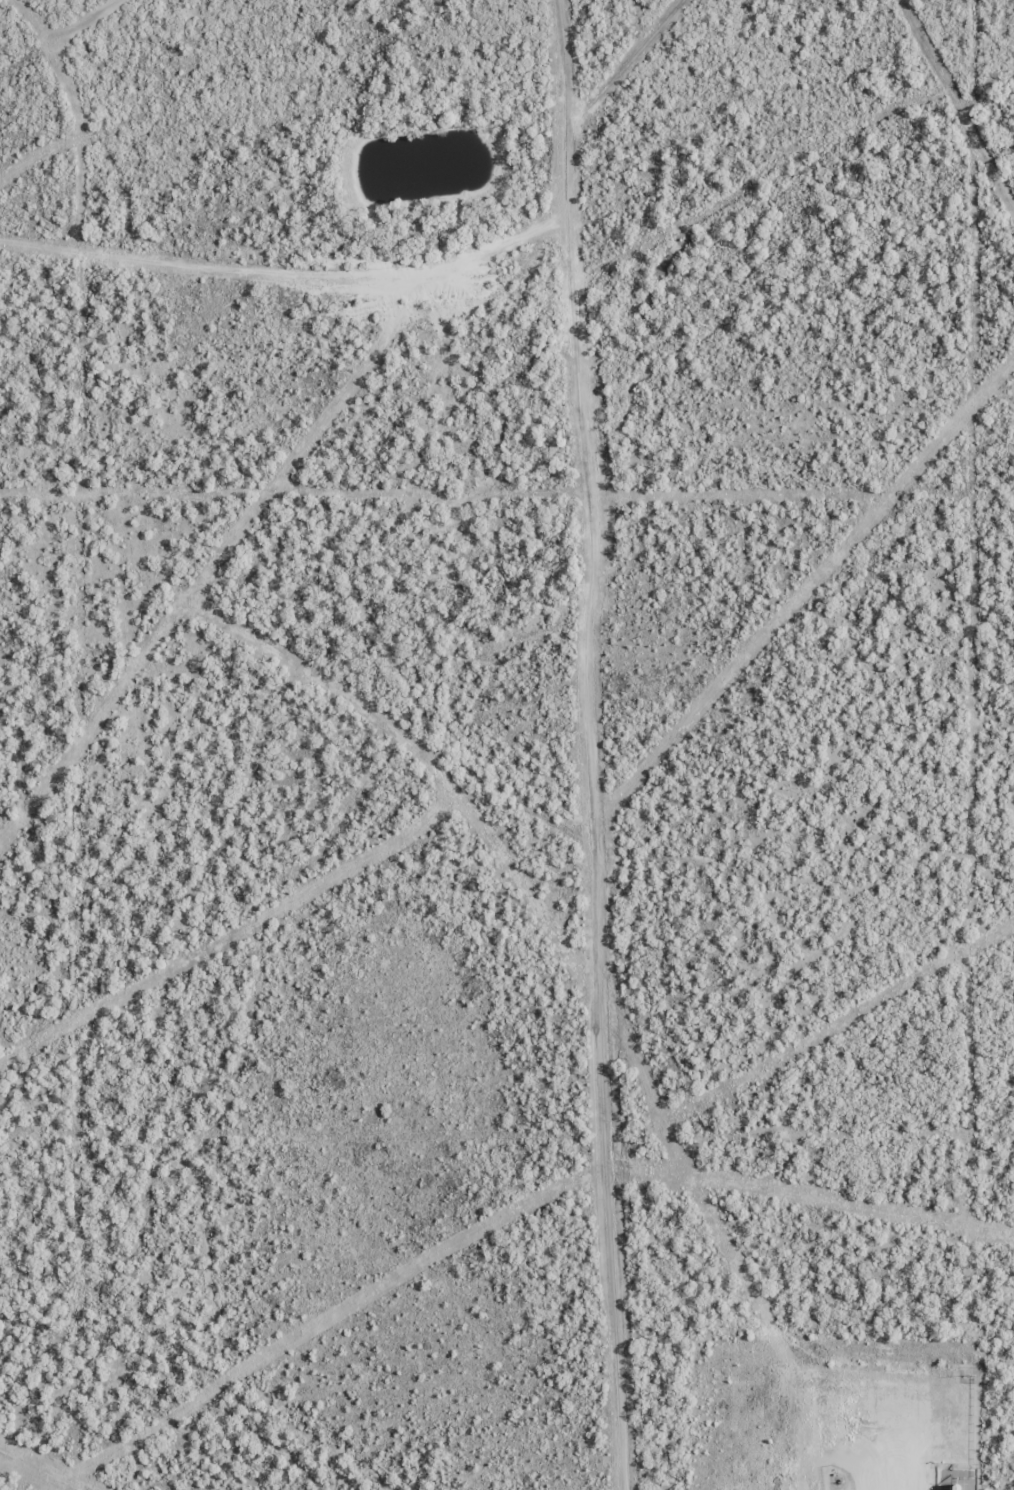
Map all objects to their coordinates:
petroleum well: (836, 1479)

